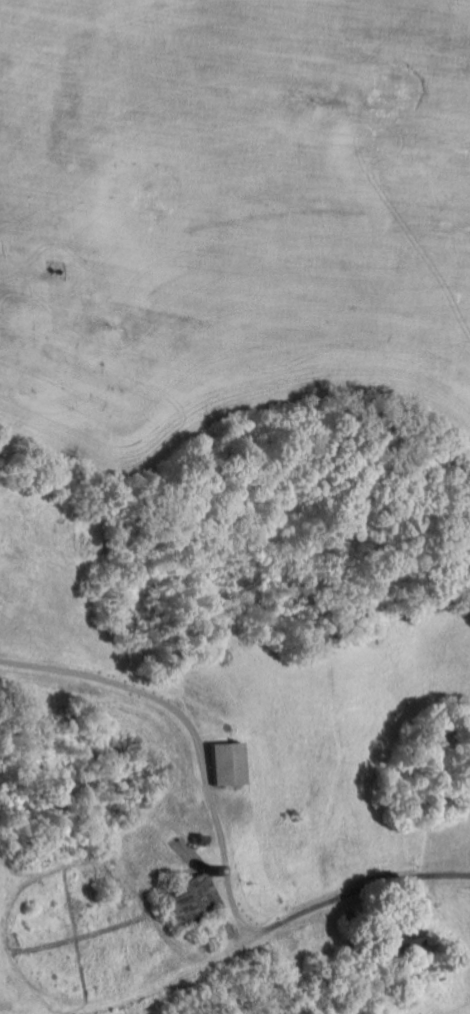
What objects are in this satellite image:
building: (240, 763)
road: (403, 881)

